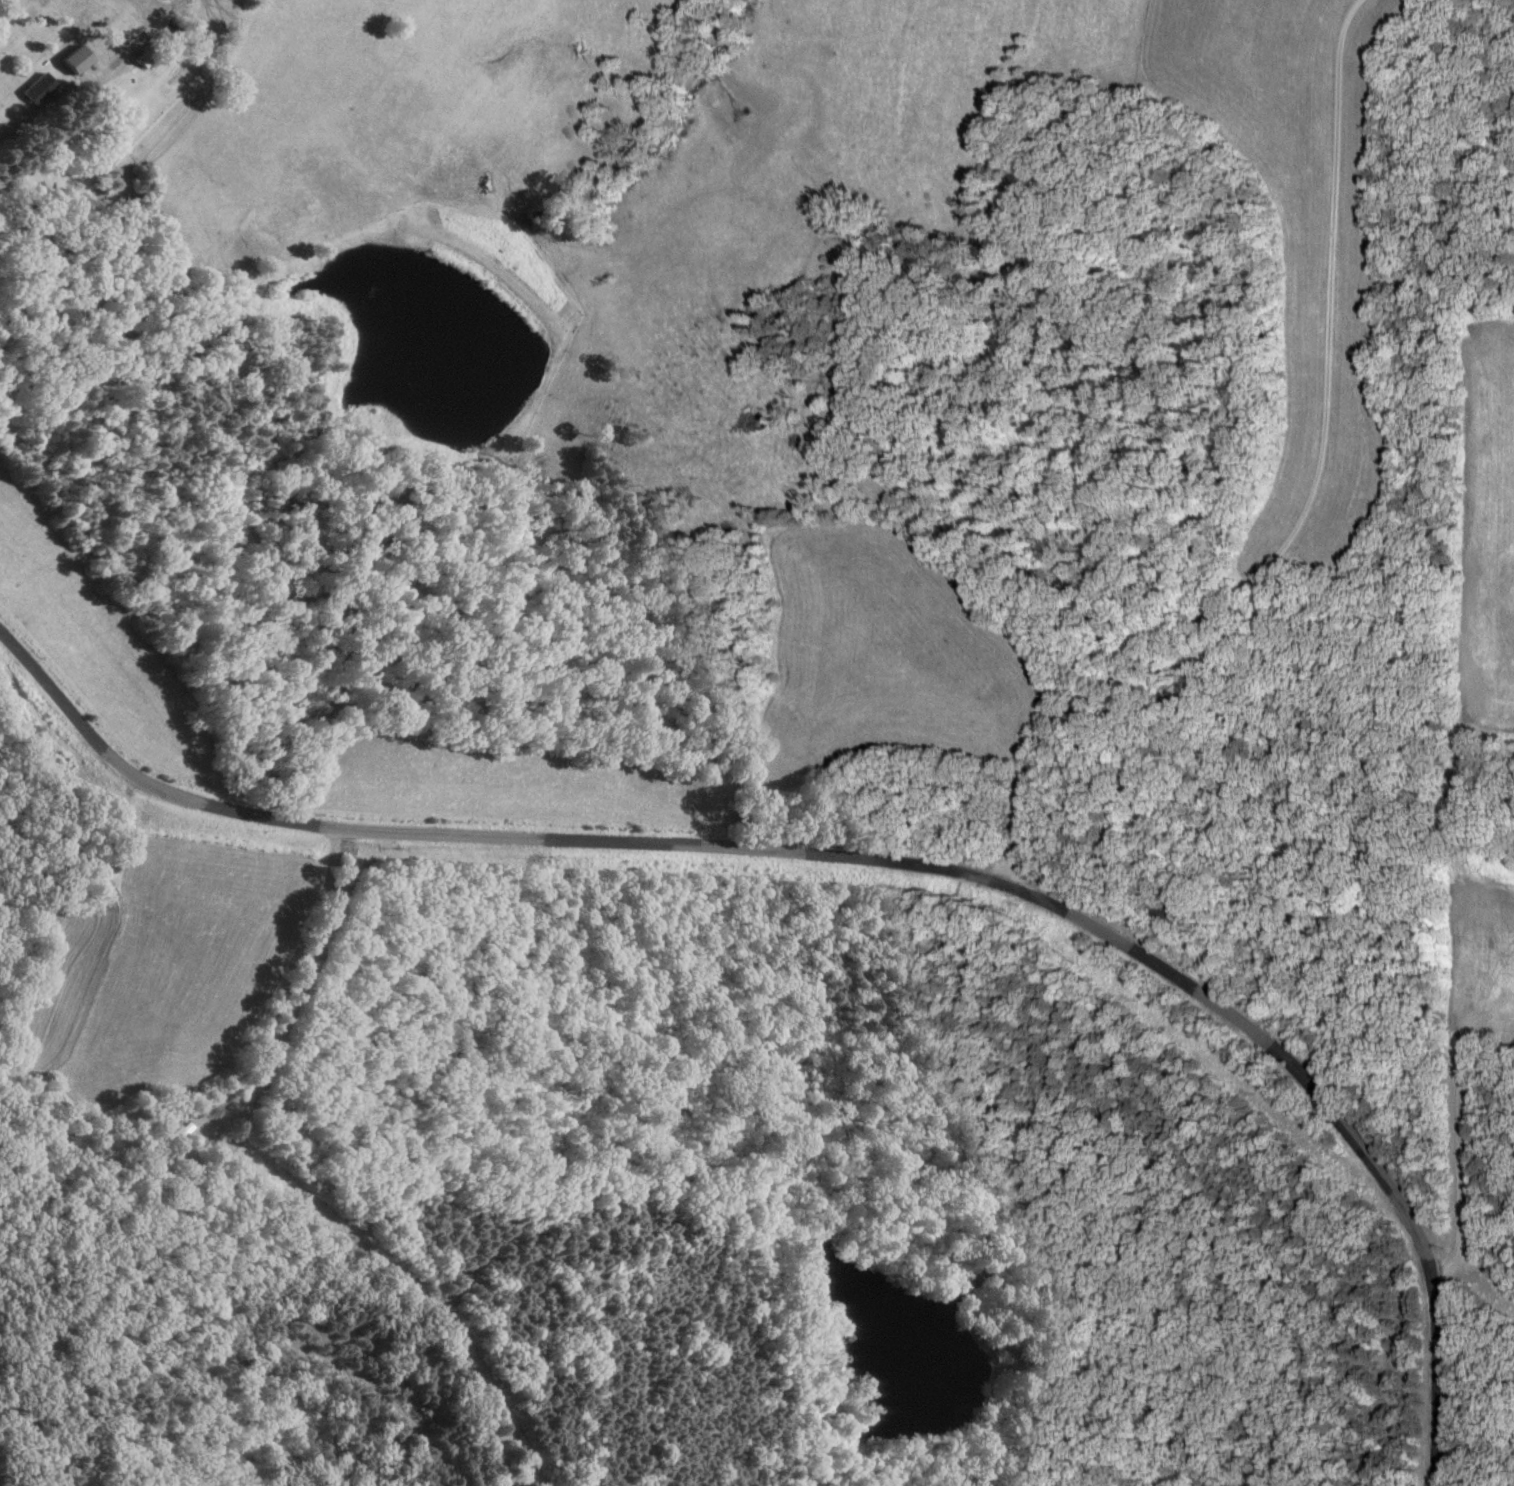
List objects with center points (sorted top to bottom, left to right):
building: (99, 52)
building: (139, 59)
building: (35, 91)
road: (80, 92)
road: (1273, 489)
road: (866, 882)
building: (1164, 918)

